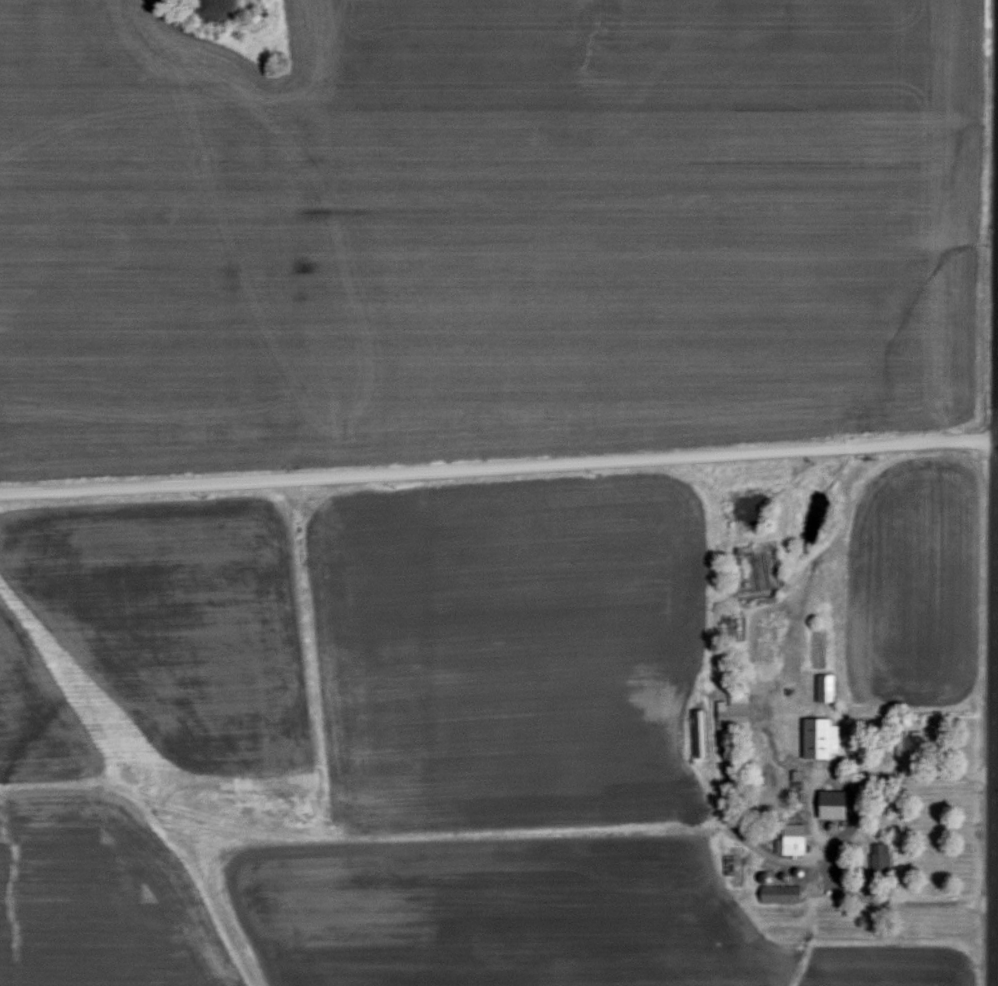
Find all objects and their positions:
road: (498, 469)
road: (993, 668)
building: (825, 690)
building: (733, 717)
building: (820, 741)
building: (910, 747)
road: (922, 777)
building: (831, 807)
building: (793, 841)
building: (881, 862)
building: (730, 867)
building: (780, 897)
road: (911, 902)

